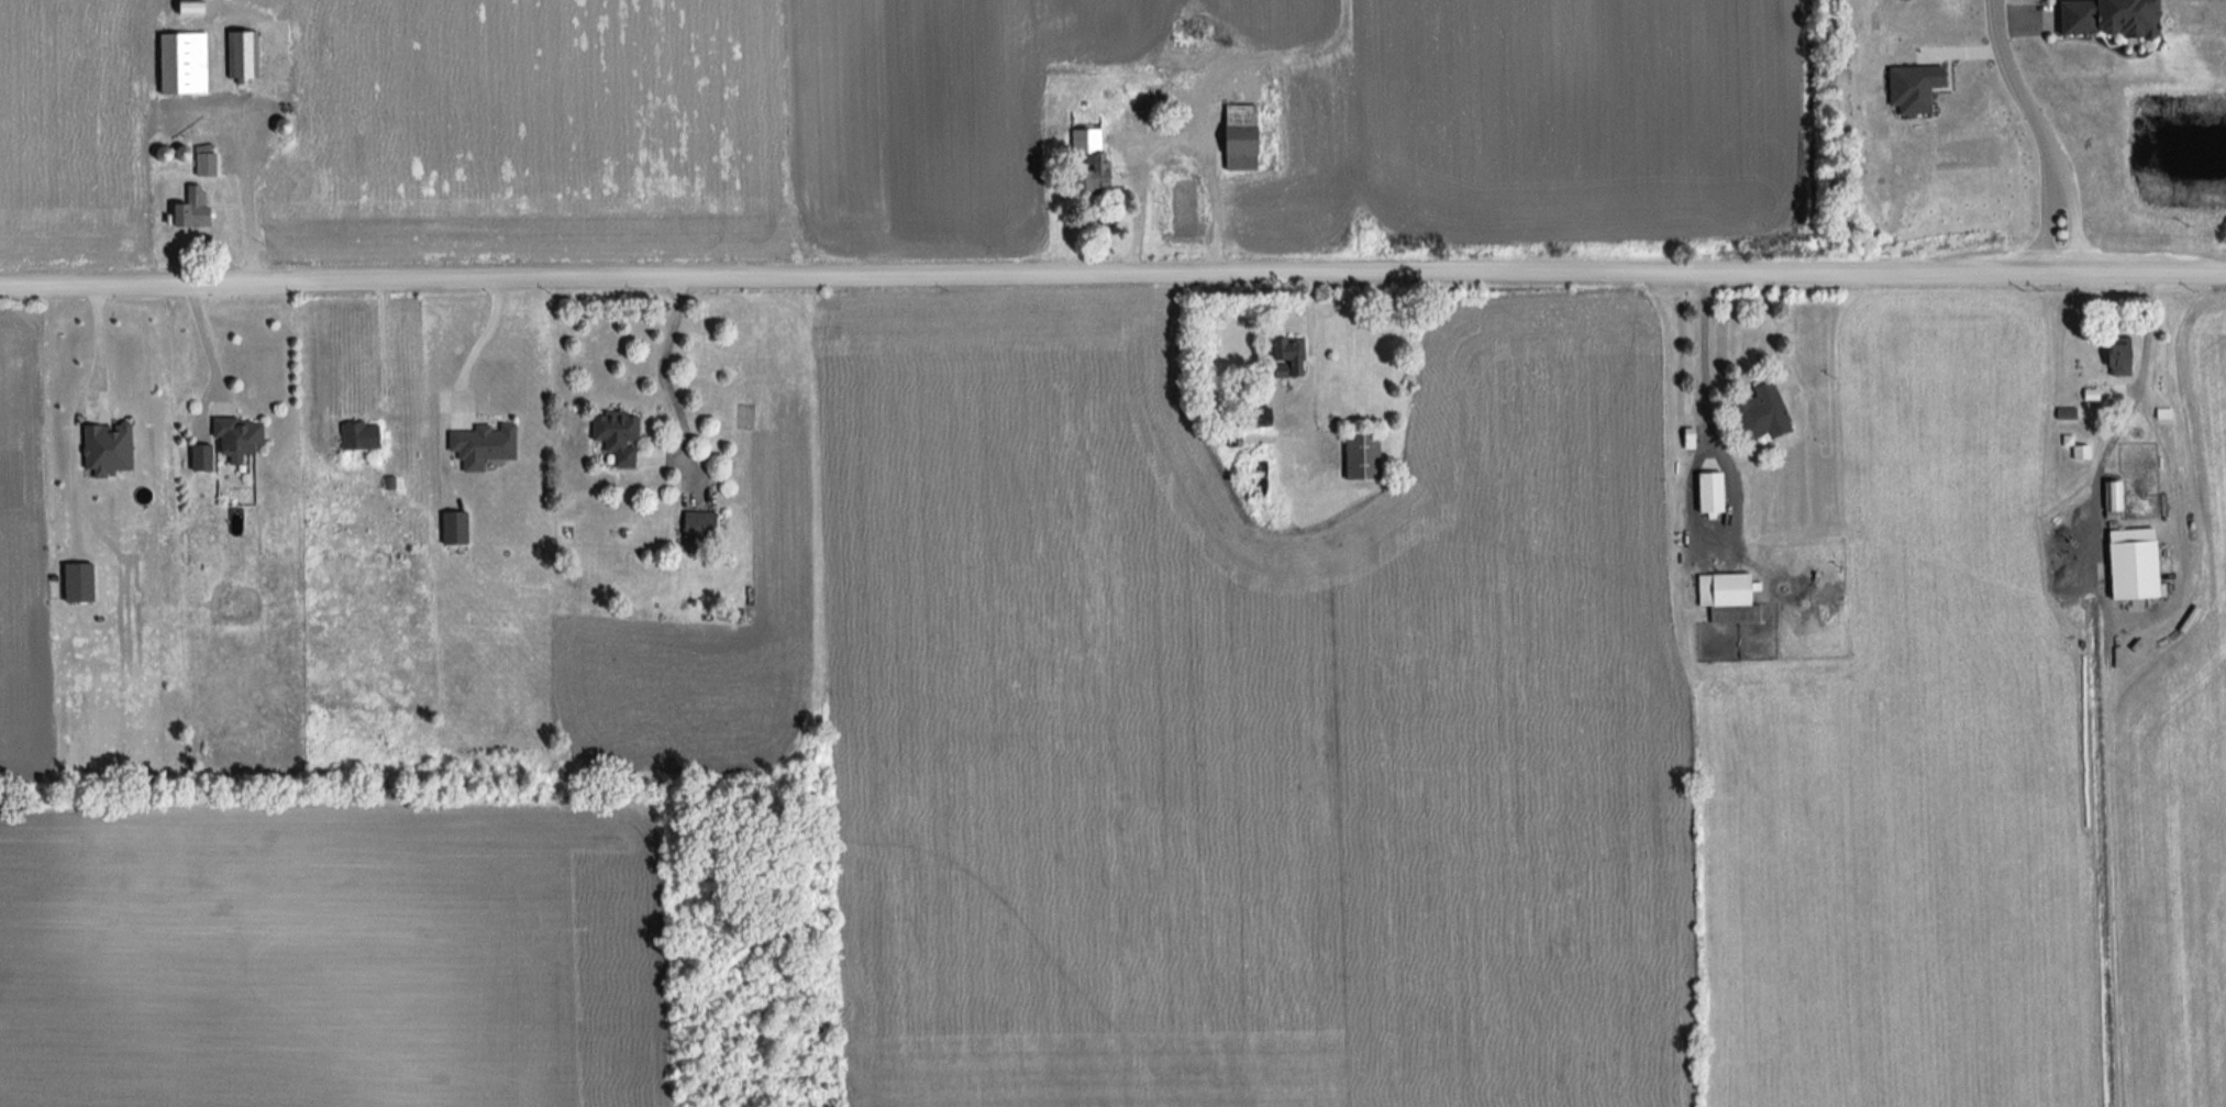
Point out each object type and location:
building: (2118, 19)
building: (239, 56)
building: (178, 65)
building: (1234, 81)
road: (2020, 93)
crop: (1011, 121)
crop: (78, 131)
building: (1233, 139)
road: (1174, 142)
building: (1094, 164)
road: (253, 210)
building: (187, 211)
road: (2077, 224)
road: (2047, 226)
road: (1112, 273)
road: (488, 334)
road: (2142, 334)
road: (383, 346)
road: (99, 348)
road: (214, 351)
building: (1285, 357)
building: (2114, 357)
road: (666, 369)
building: (1758, 414)
building: (1253, 419)
building: (356, 436)
building: (611, 439)
building: (233, 441)
building: (476, 445)
building: (1356, 457)
building: (199, 458)
building: (1252, 484)
building: (1704, 495)
building: (2109, 498)
building: (693, 527)
building: (2128, 564)
building: (1724, 598)
crop: (1247, 727)
crop: (1911, 763)
crop: (2181, 794)
crop: (333, 954)

